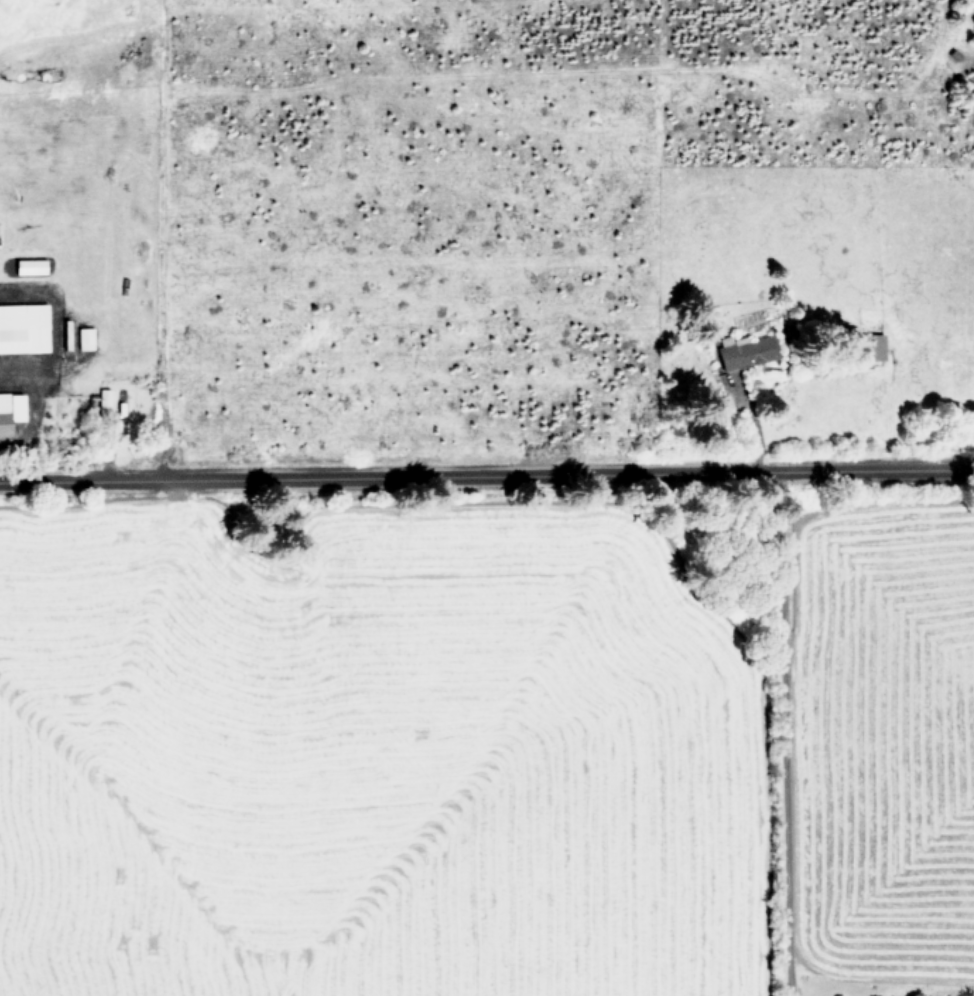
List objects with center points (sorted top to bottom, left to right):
building: (29, 266)
building: (22, 327)
building: (84, 338)
building: (746, 351)
road: (31, 408)
building: (10, 410)
road: (487, 471)
crop: (487, 498)
road: (789, 733)

